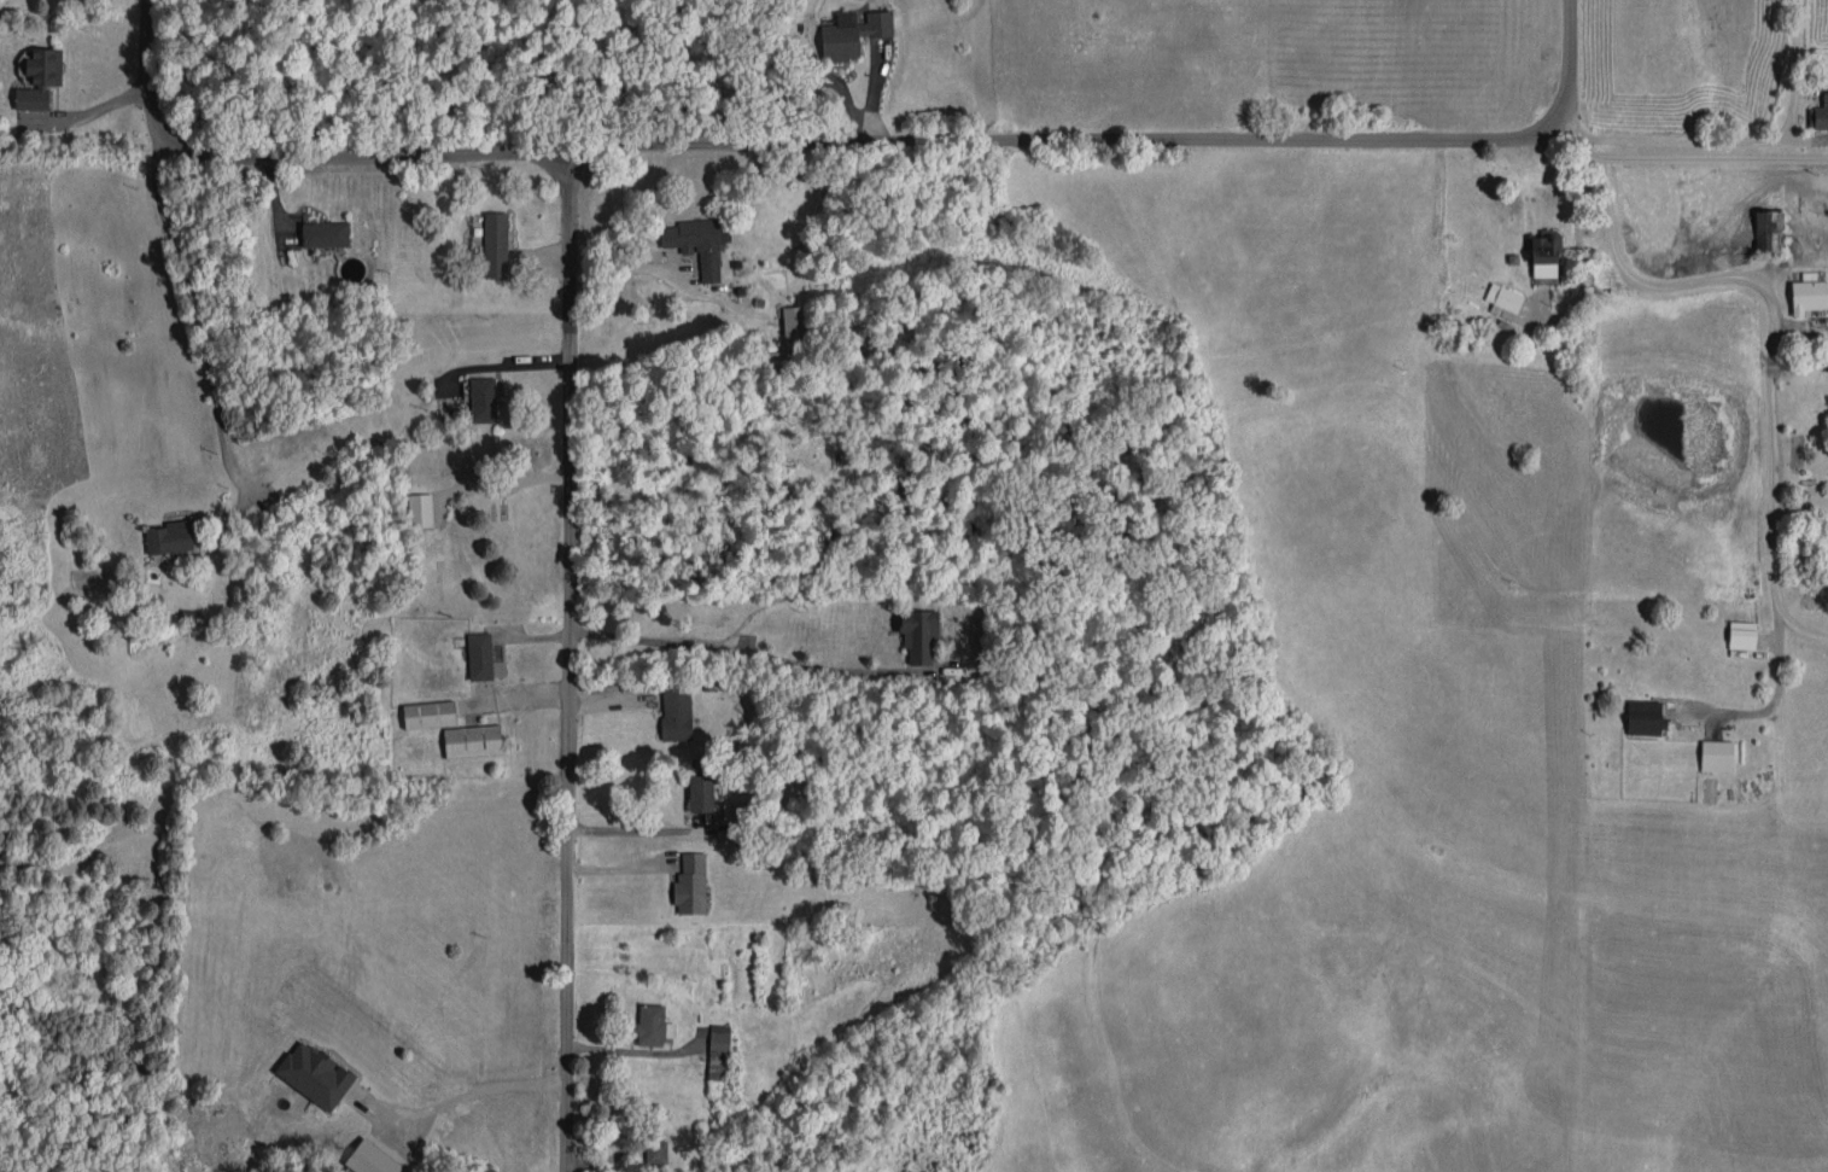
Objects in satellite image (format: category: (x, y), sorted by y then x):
building: (852, 34)
road: (1811, 66)
building: (40, 78)
road: (92, 111)
building: (1818, 113)
road: (1126, 138)
road: (1734, 138)
road: (296, 156)
road: (1681, 156)
building: (1769, 229)
building: (325, 233)
building: (495, 244)
building: (696, 244)
building: (1546, 253)
road: (650, 269)
building: (1807, 296)
building: (1503, 301)
road: (193, 309)
building: (794, 321)
building: (1827, 362)
road: (501, 368)
road: (1769, 386)
building: (483, 398)
building: (420, 509)
building: (169, 537)
road: (1799, 630)
building: (918, 634)
building: (1741, 635)
road: (734, 651)
building: (479, 655)
road: (571, 663)
building: (676, 712)
building: (428, 713)
building: (1645, 717)
building: (472, 740)
building: (1716, 756)
building: (701, 792)
road: (644, 834)
building: (690, 882)
building: (652, 1025)
building: (718, 1051)
building: (315, 1074)
road: (460, 1100)
building: (655, 1151)
building: (370, 1159)

